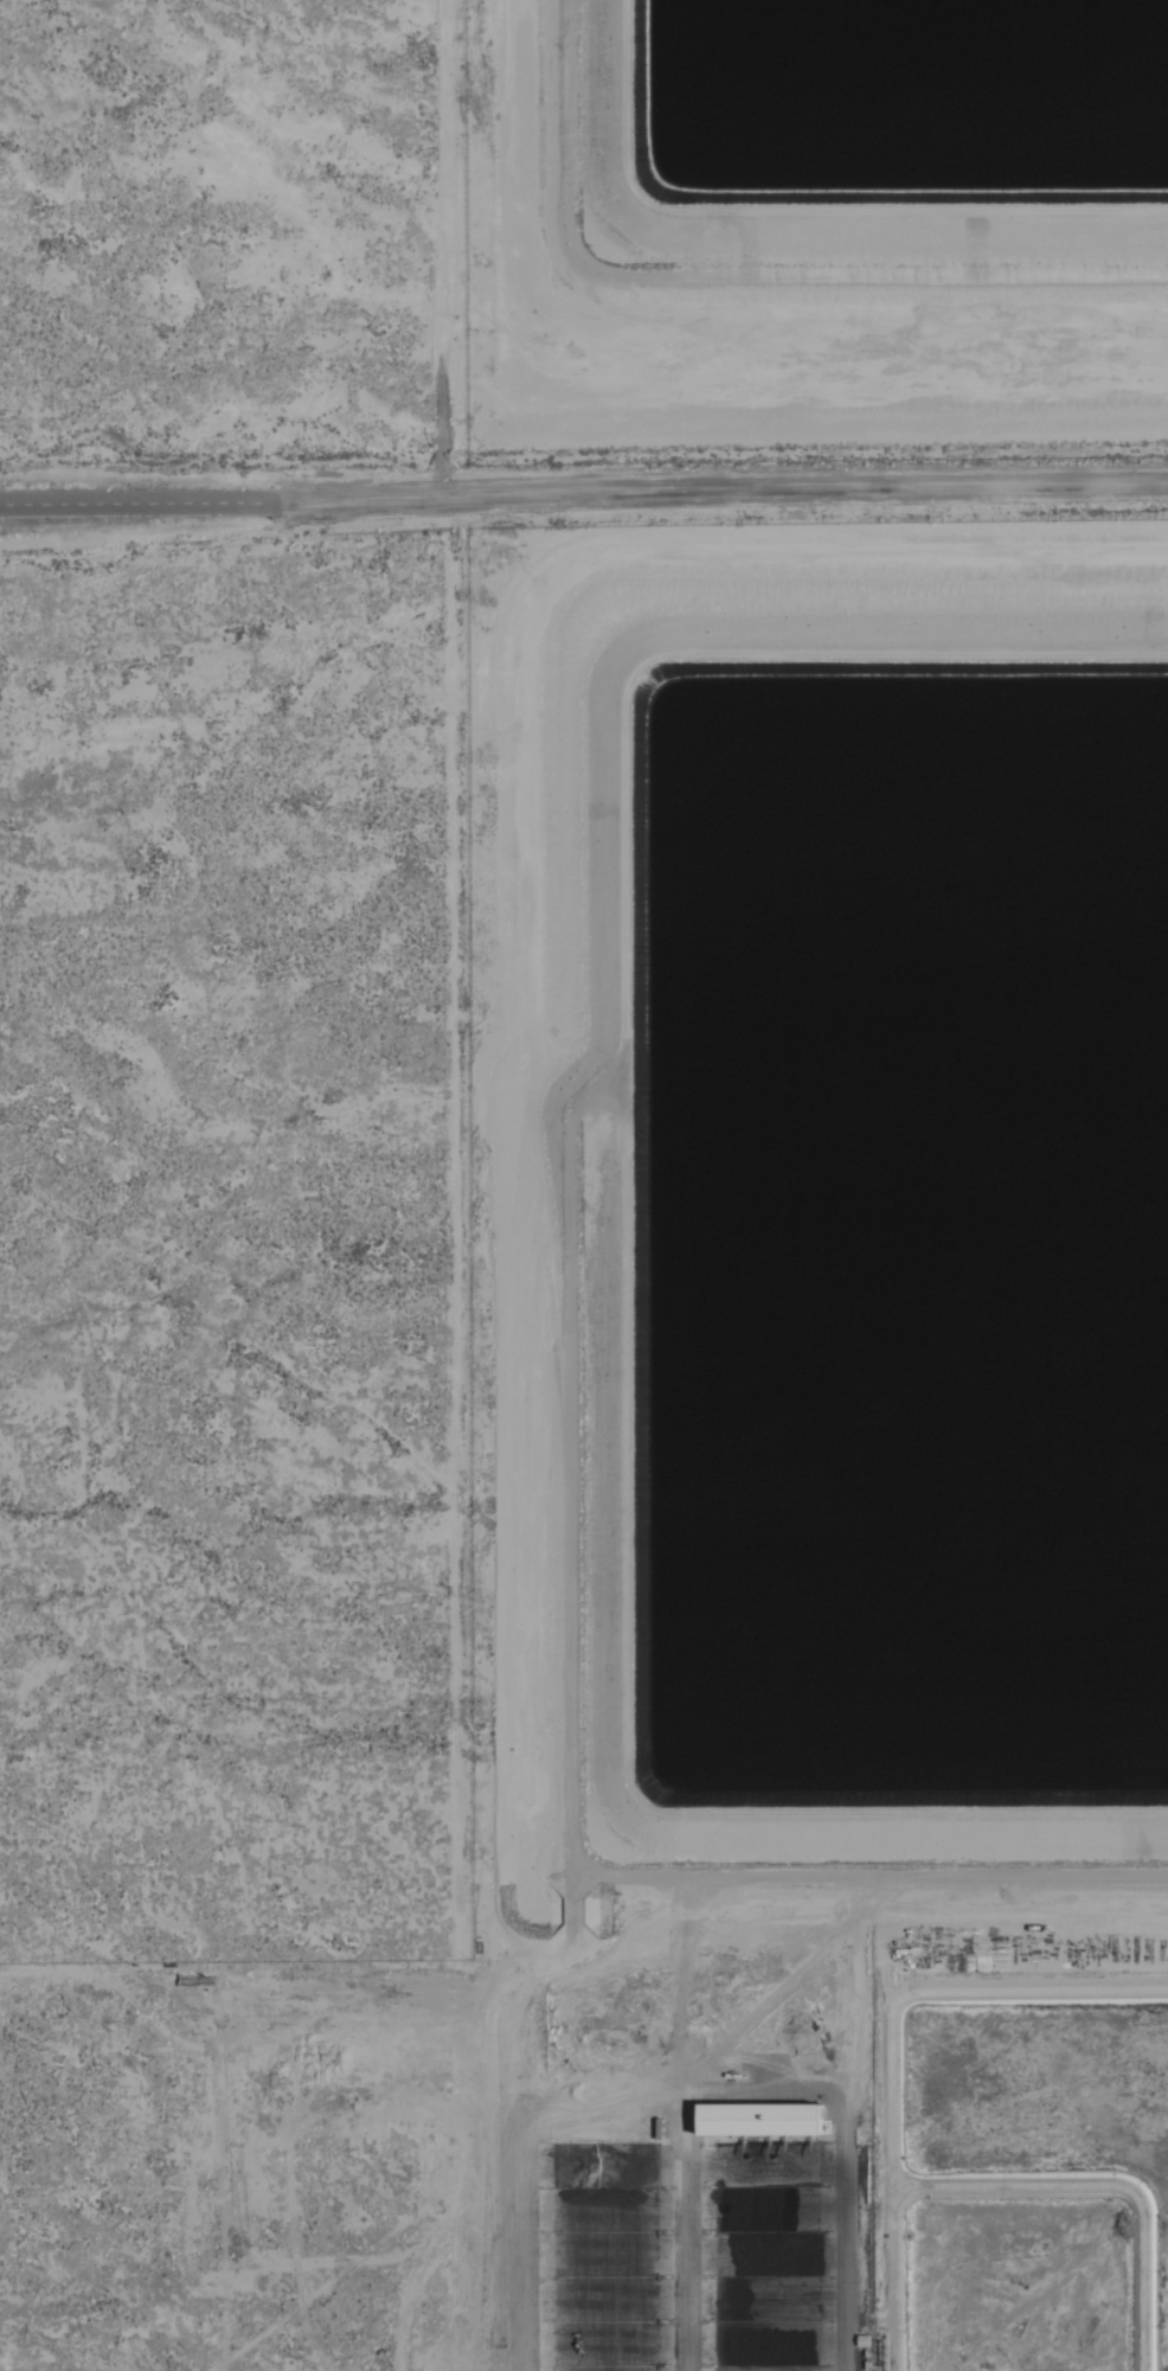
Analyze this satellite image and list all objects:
wastewater plant: (815, 220)
road: (584, 498)
wastewater plant: (742, 1537)
road: (695, 1896)
building: (762, 2117)

